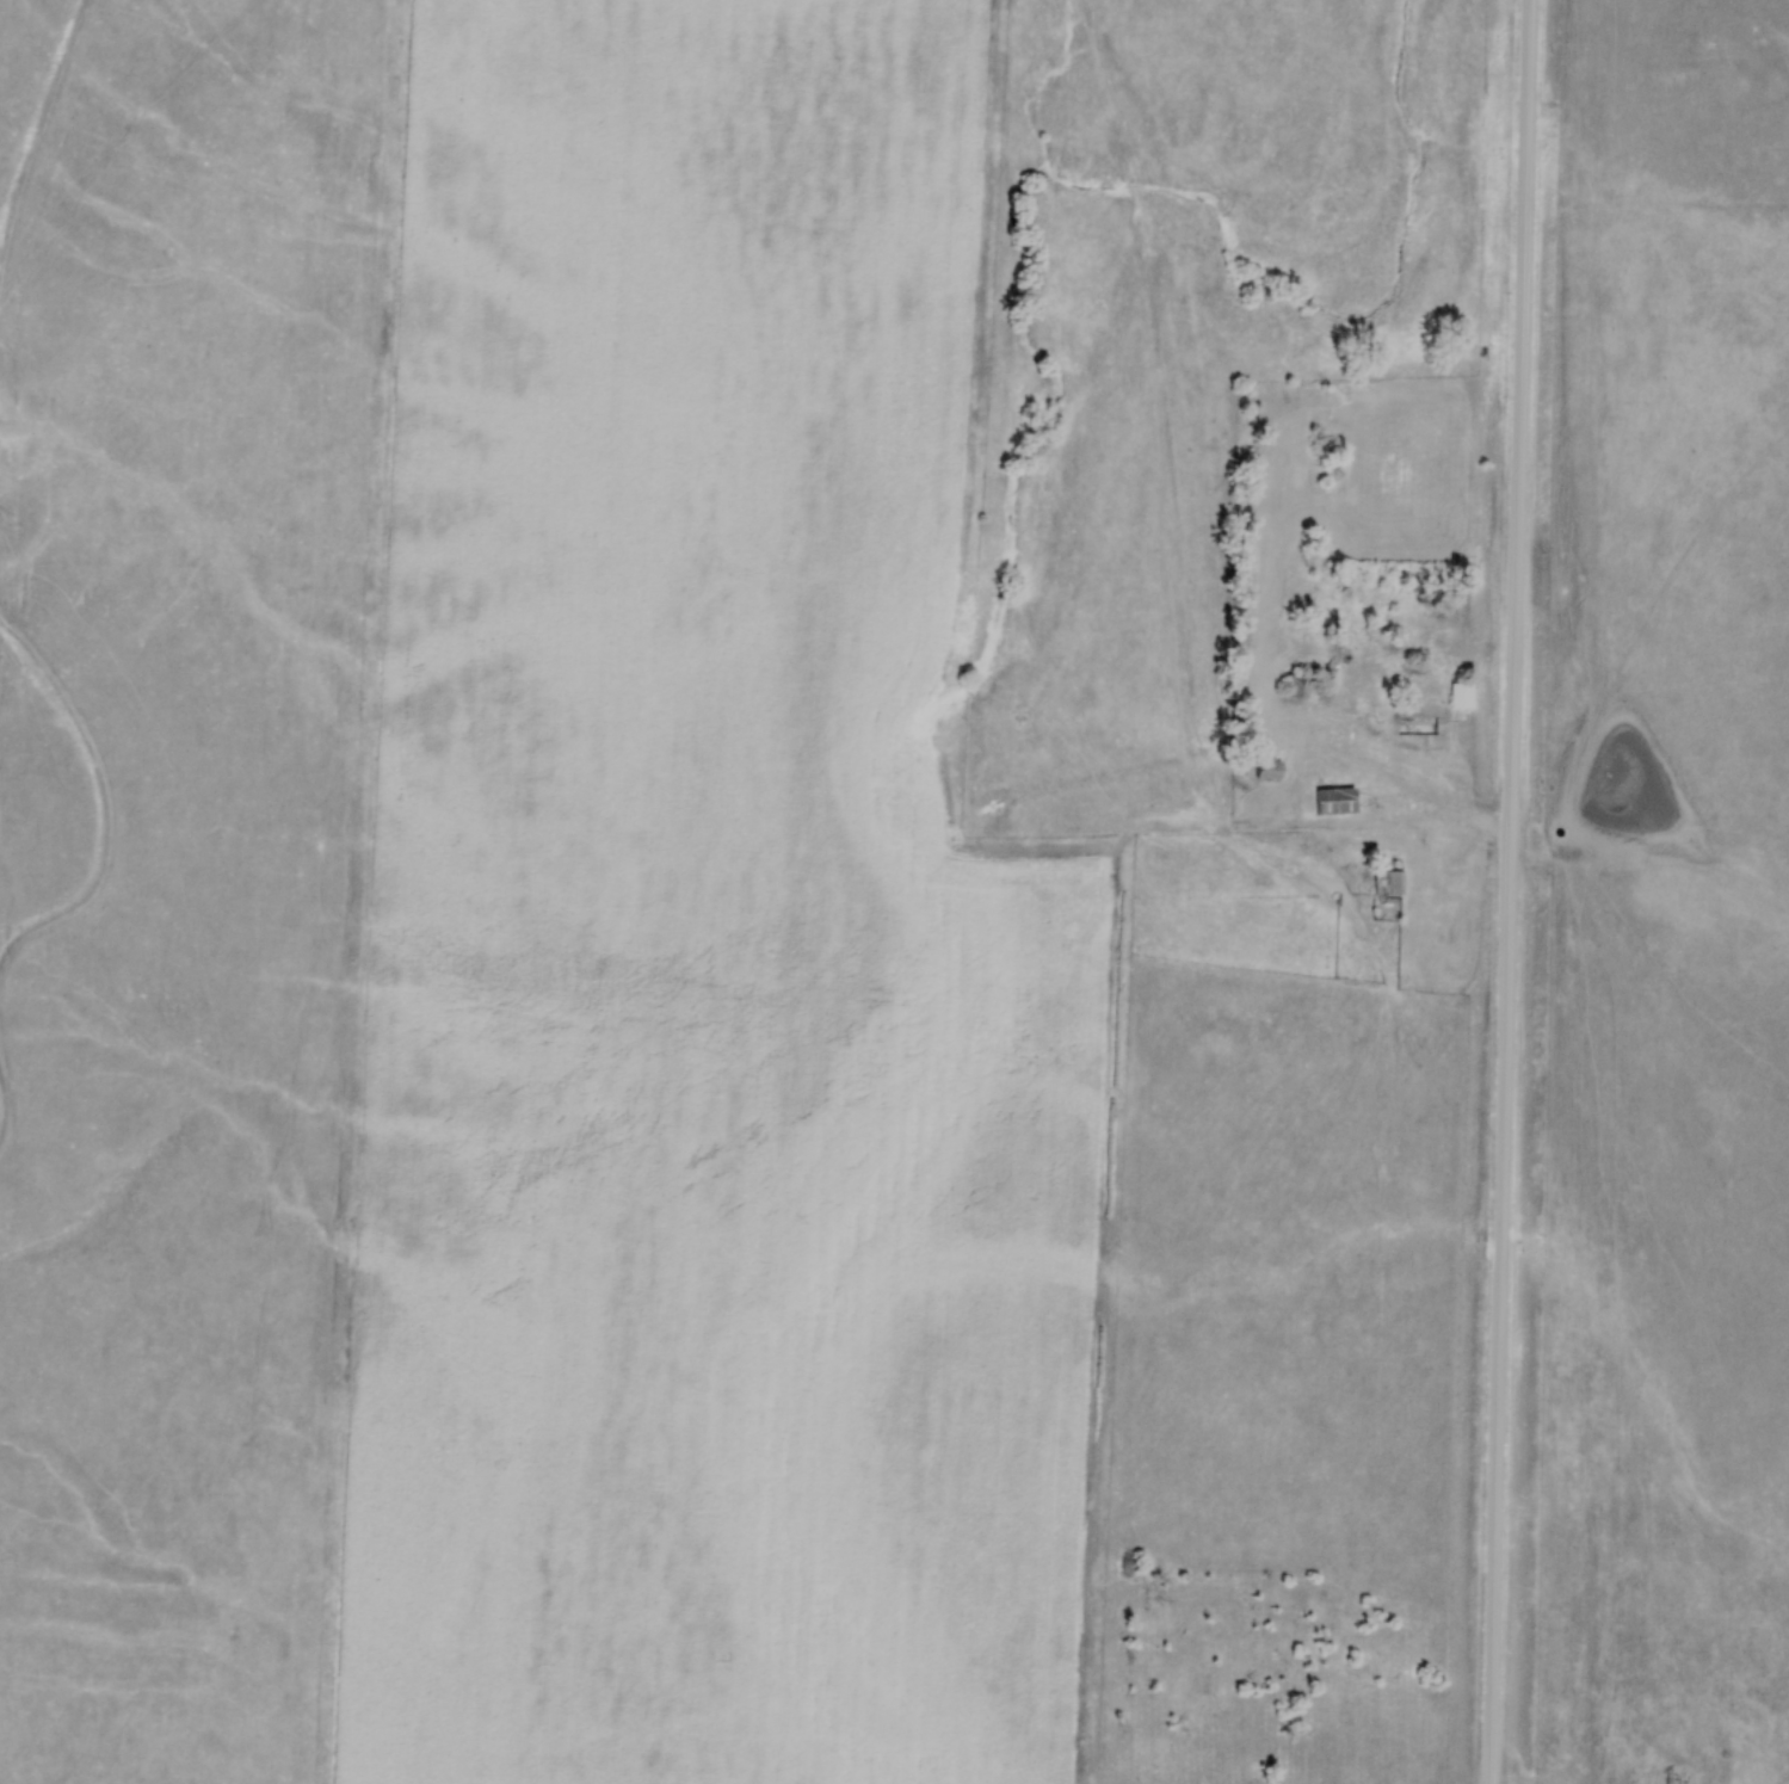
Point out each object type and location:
building: (1300, 689)
building: (1460, 697)
building: (1415, 727)
building: (1334, 802)
road: (1507, 891)

